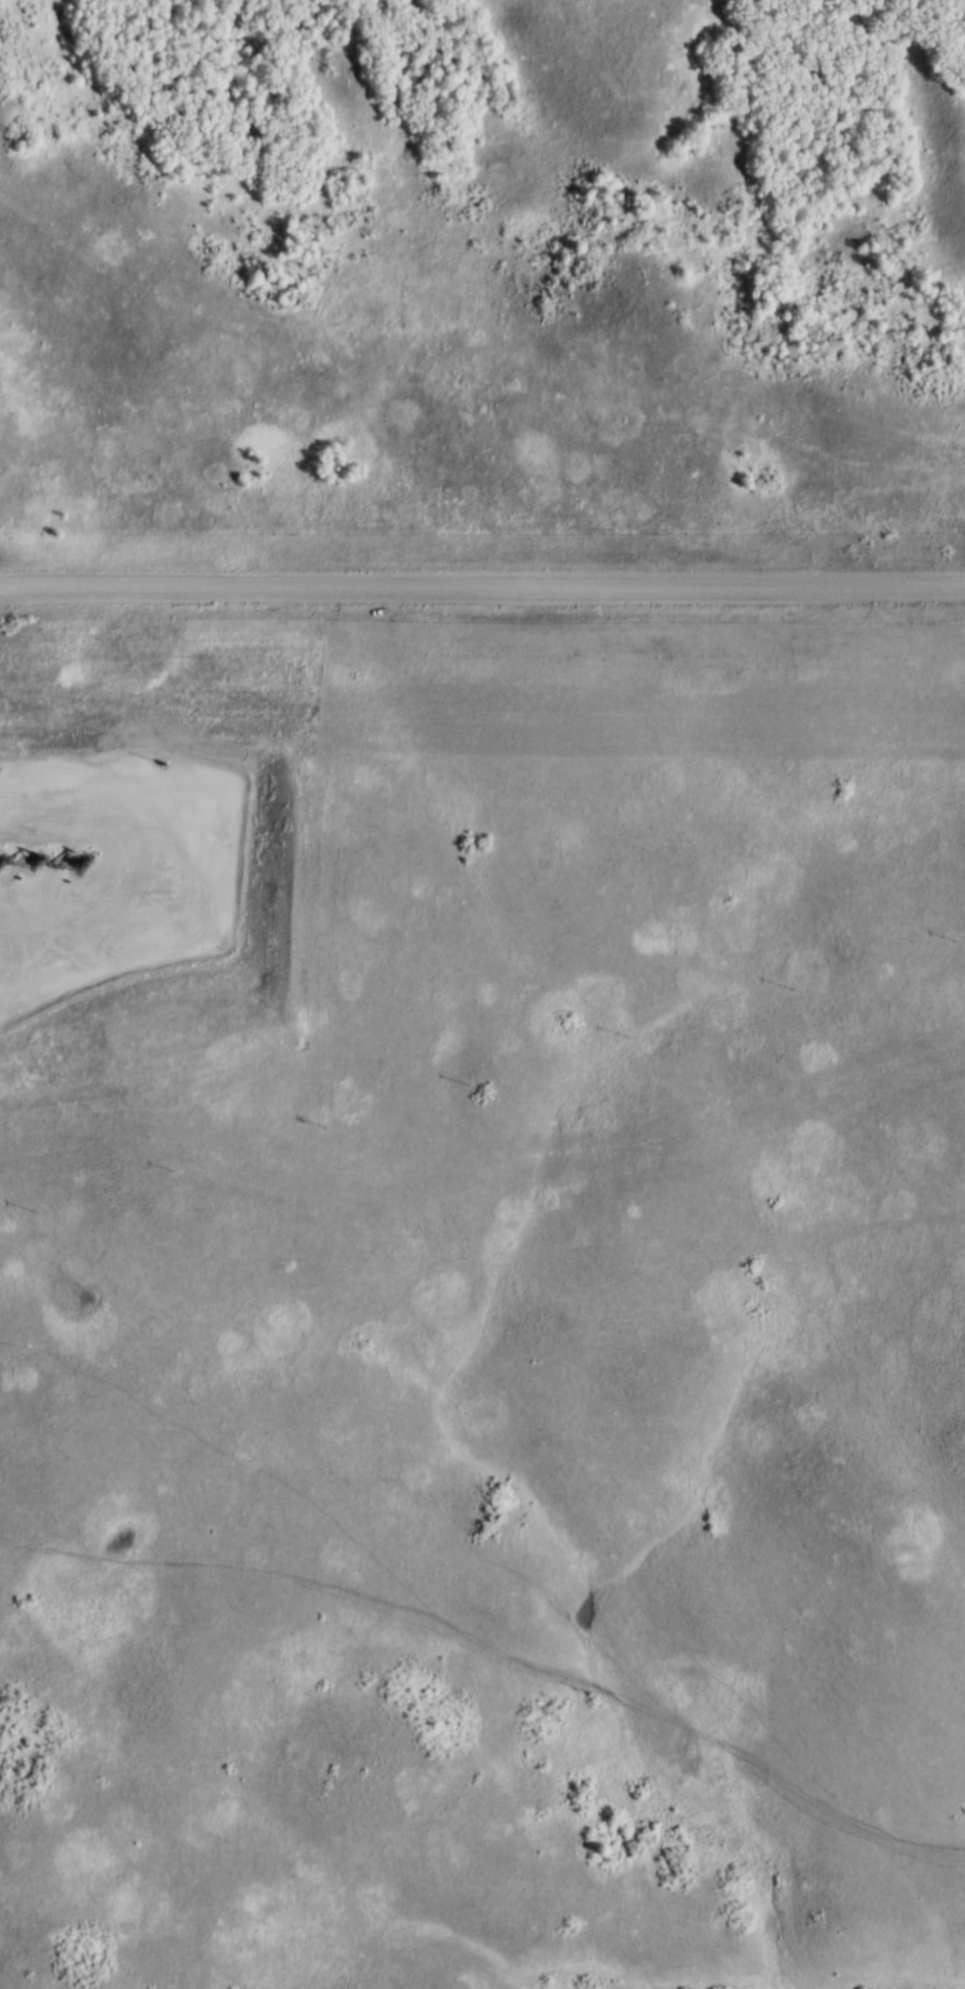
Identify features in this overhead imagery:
road: (482, 593)
building: (42, 763)
building: (15, 765)
building: (77, 771)
building: (124, 772)
building: (170, 773)
building: (220, 773)
building: (152, 825)
petroleum well: (28, 858)
building: (136, 858)
petroleum well: (75, 859)

